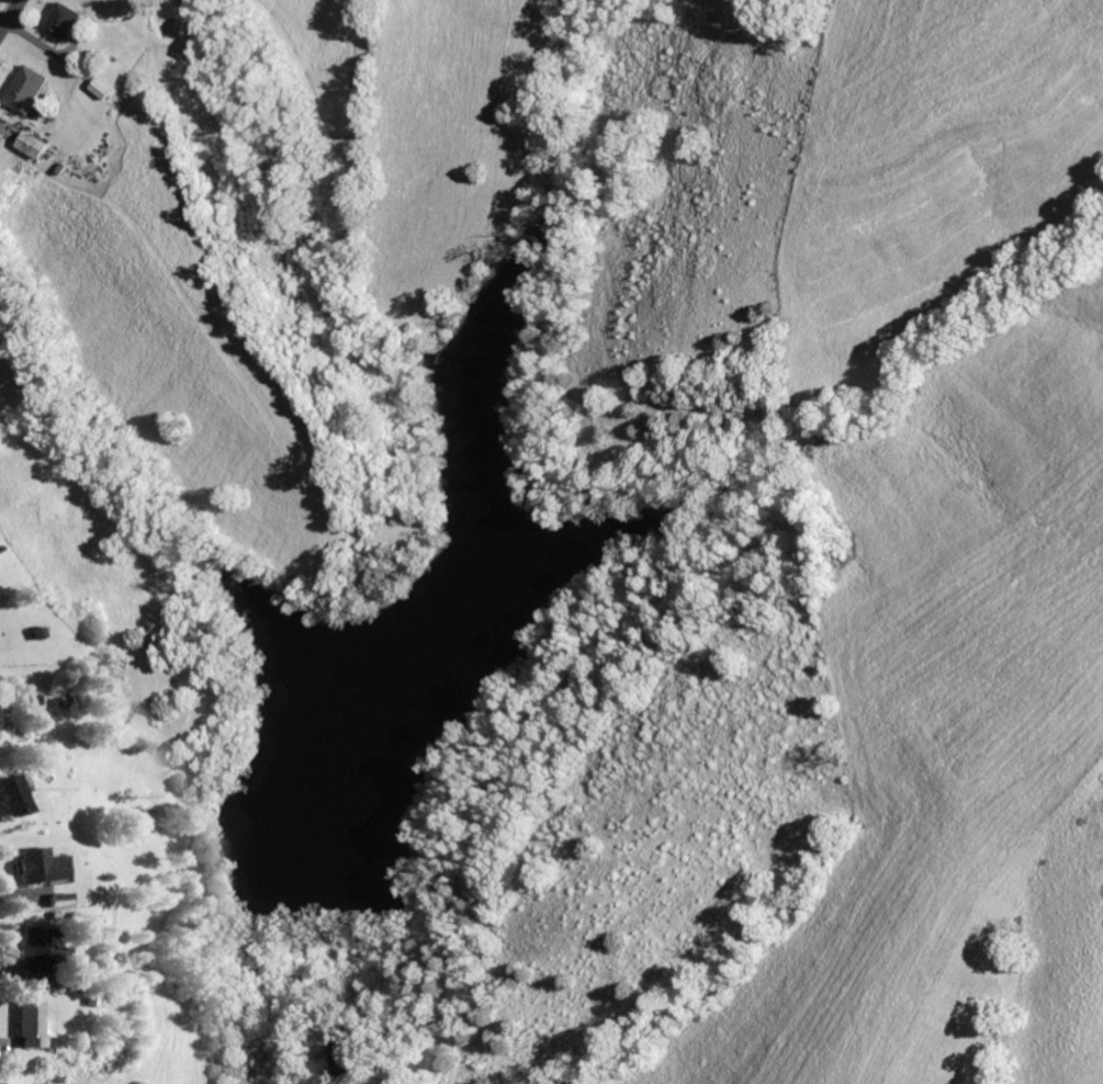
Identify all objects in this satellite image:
road: (2, 3)
building: (69, 21)
building: (29, 88)
building: (33, 144)
building: (13, 794)
building: (35, 865)
building: (55, 899)
building: (38, 950)
road: (164, 987)
building: (33, 1025)

